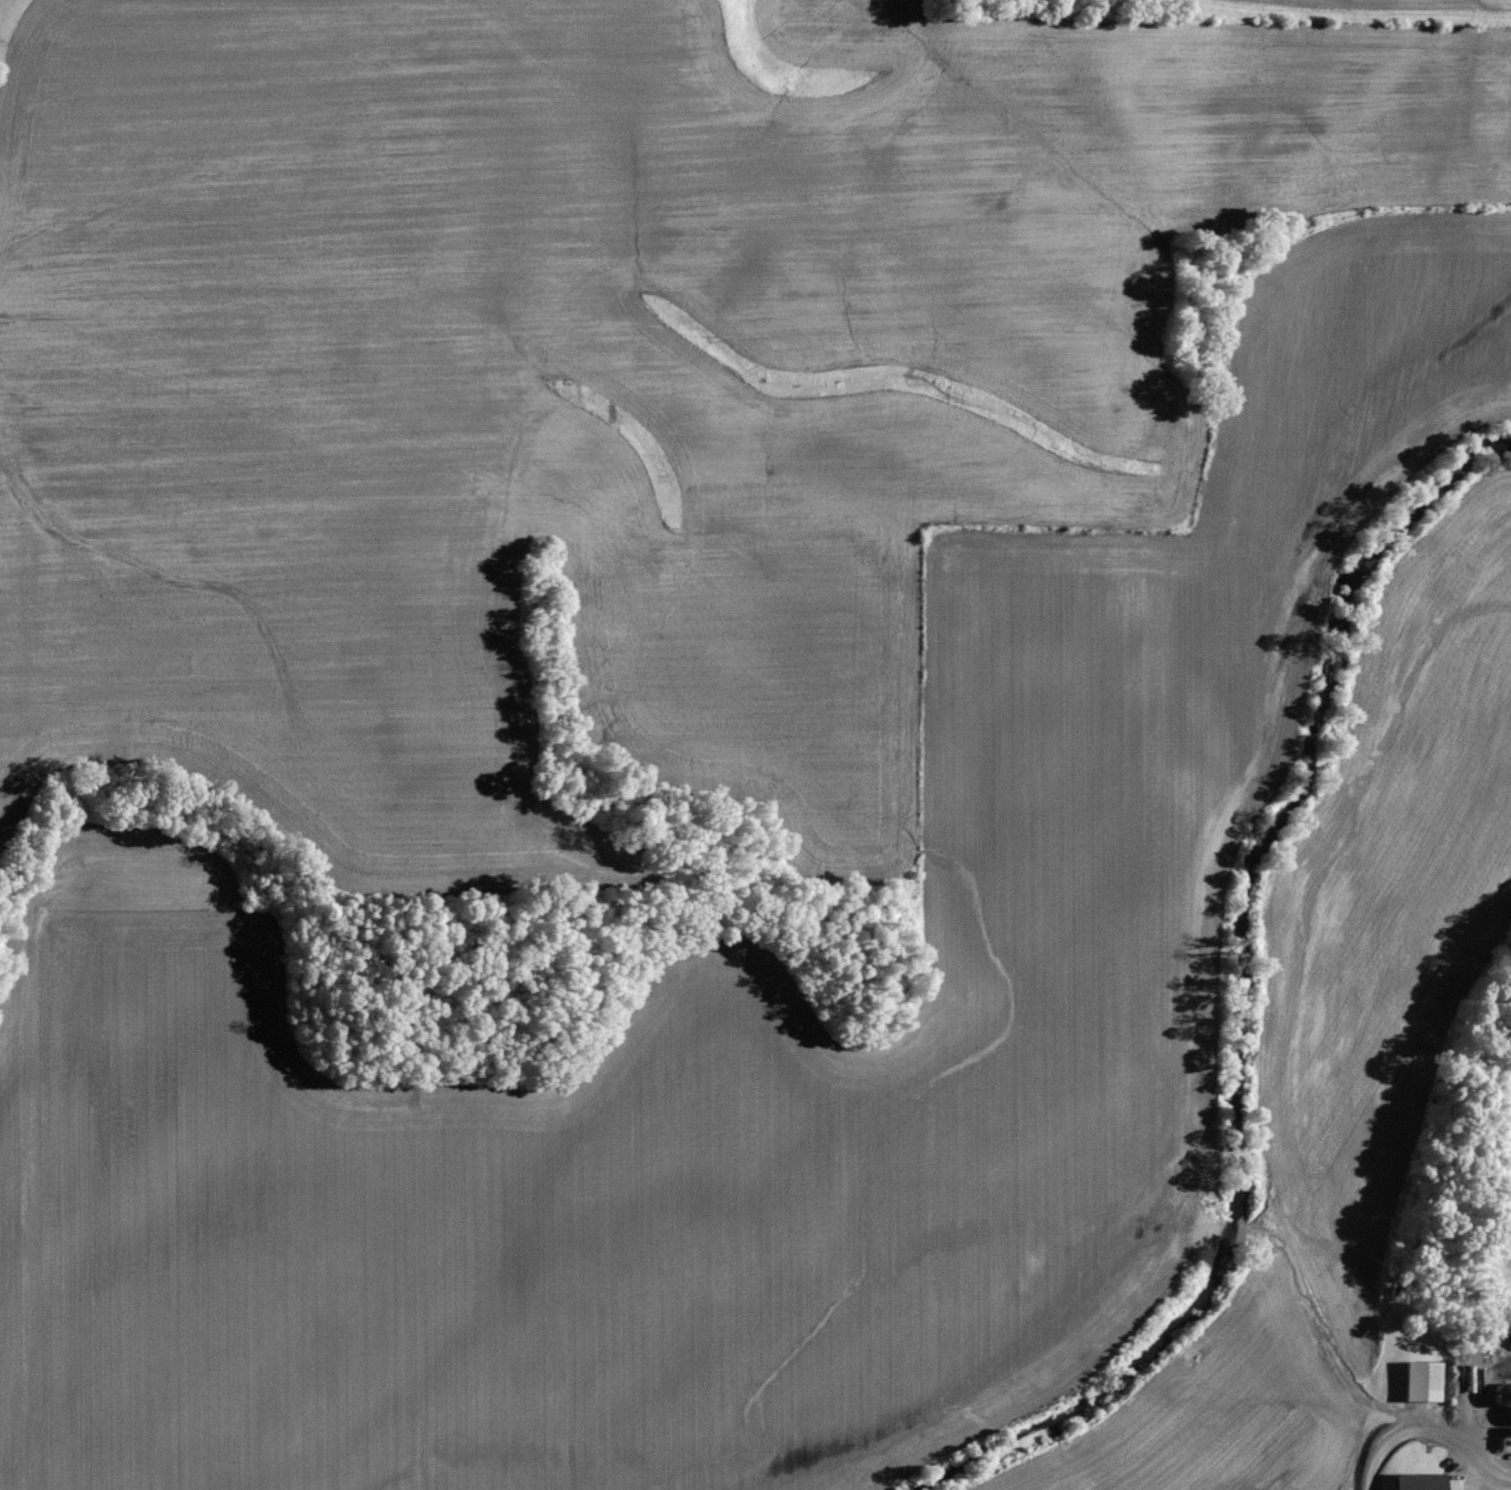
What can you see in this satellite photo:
road: (1318, 1327)
building: (1420, 1382)
road: (1427, 1430)
building: (1416, 1482)

